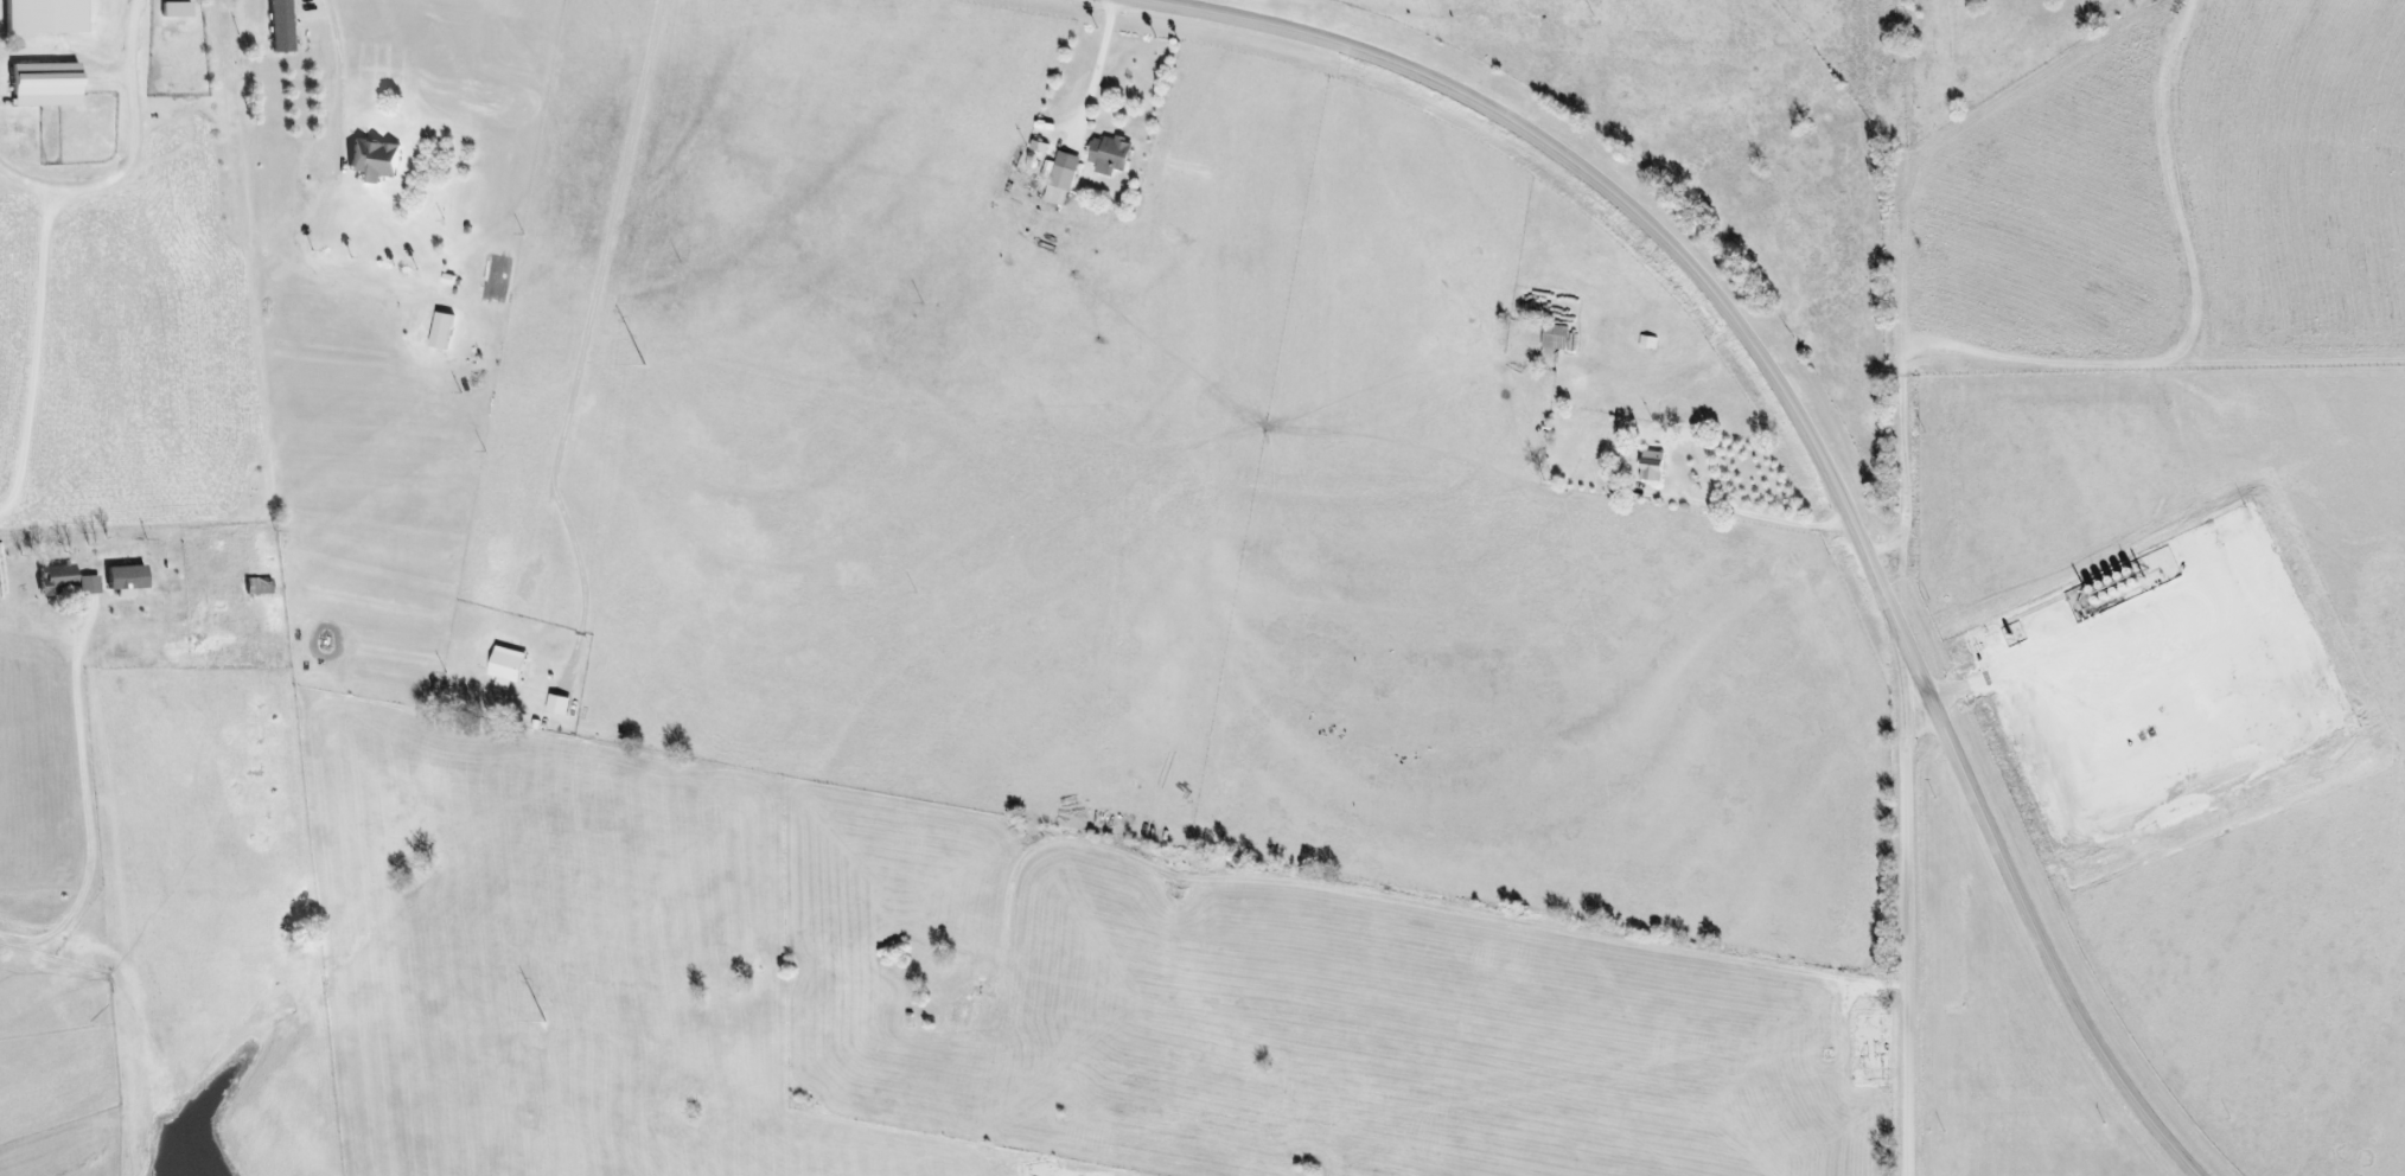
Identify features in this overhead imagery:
building: (177, 6)
building: (45, 12)
building: (282, 24)
building: (45, 78)
road: (339, 85)
road: (2, 101)
building: (1039, 146)
road: (132, 151)
building: (1109, 154)
building: (374, 160)
building: (1059, 178)
building: (441, 331)
building: (1554, 335)
power tower: (644, 365)
road: (2127, 376)
road: (1811, 429)
building: (1652, 465)
building: (125, 576)
building: (53, 579)
building: (88, 583)
building: (257, 586)
building: (506, 665)
road: (1980, 678)
building: (557, 704)
road: (76, 811)
road: (1913, 920)
power tower: (543, 1023)

